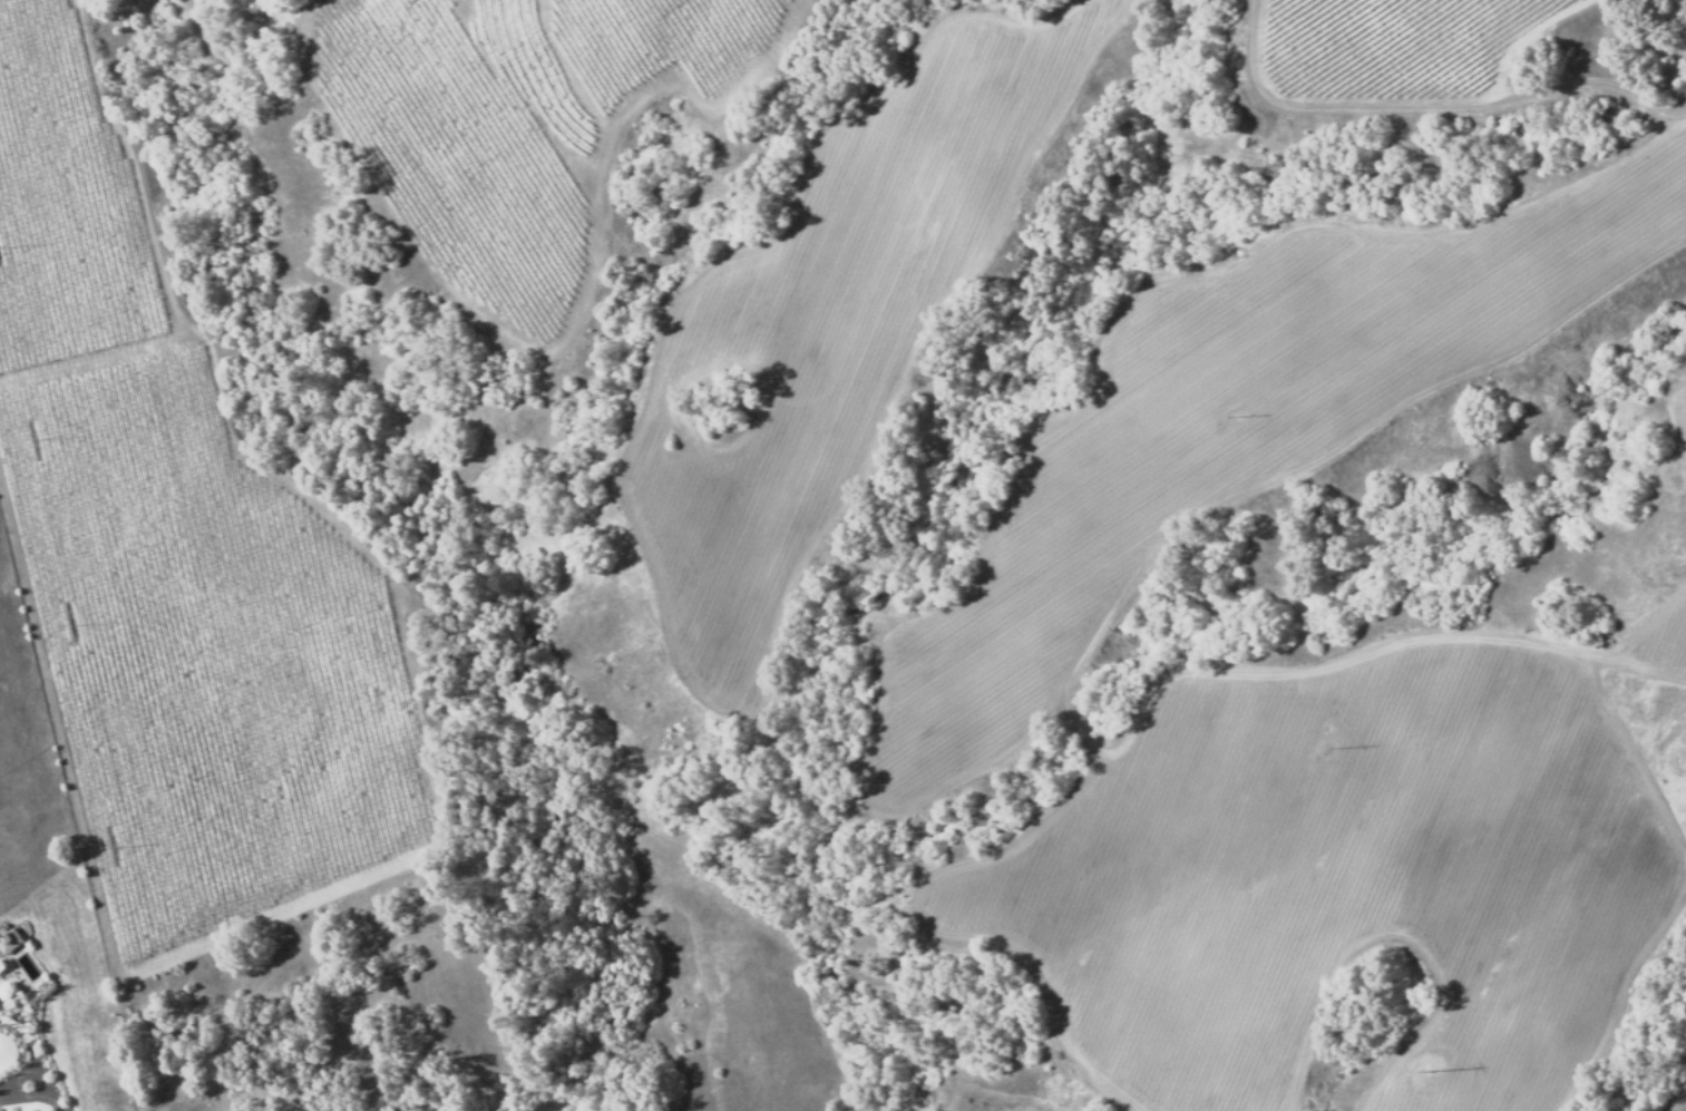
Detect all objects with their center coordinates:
building: (10, 941)

